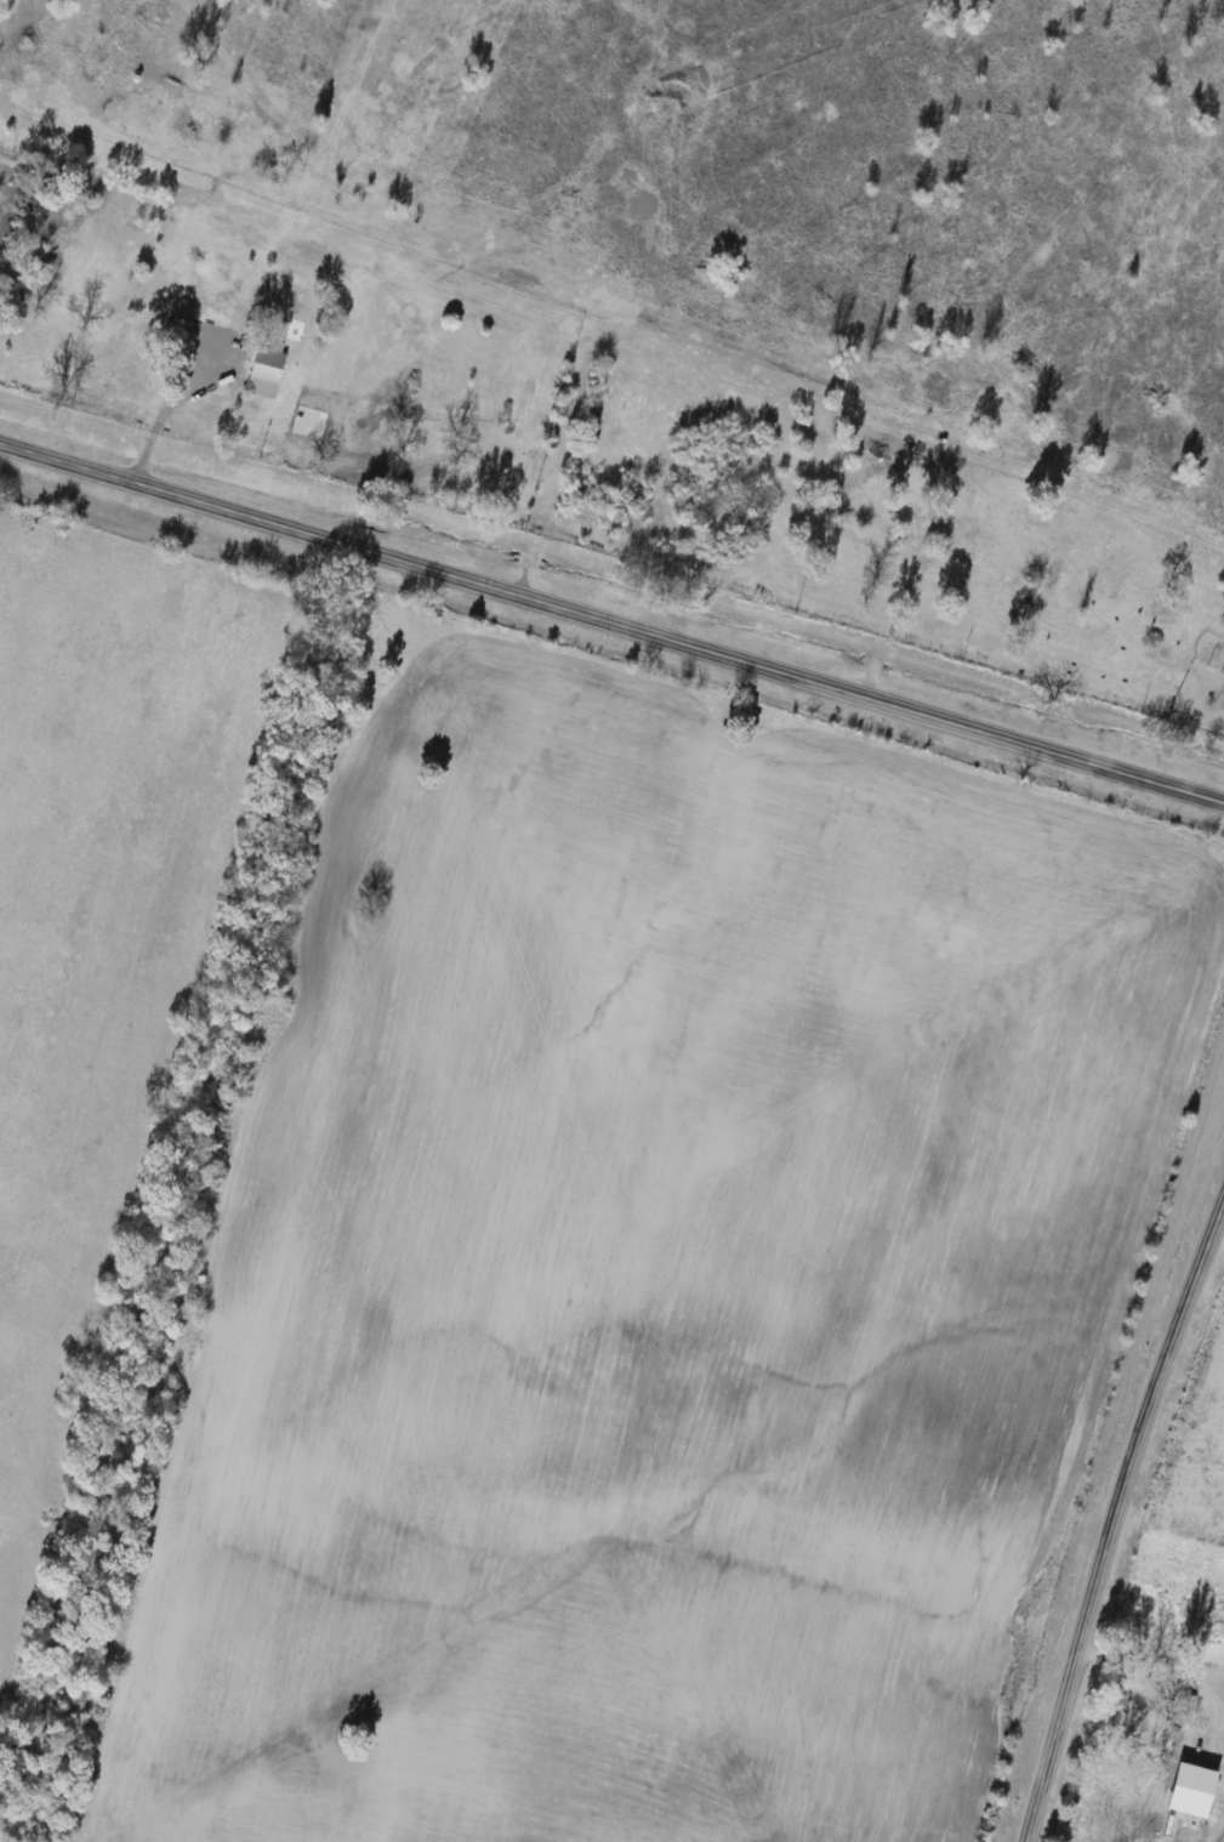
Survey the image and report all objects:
building: (267, 375)
road: (611, 620)
road: (1116, 1505)
building: (1218, 1692)

